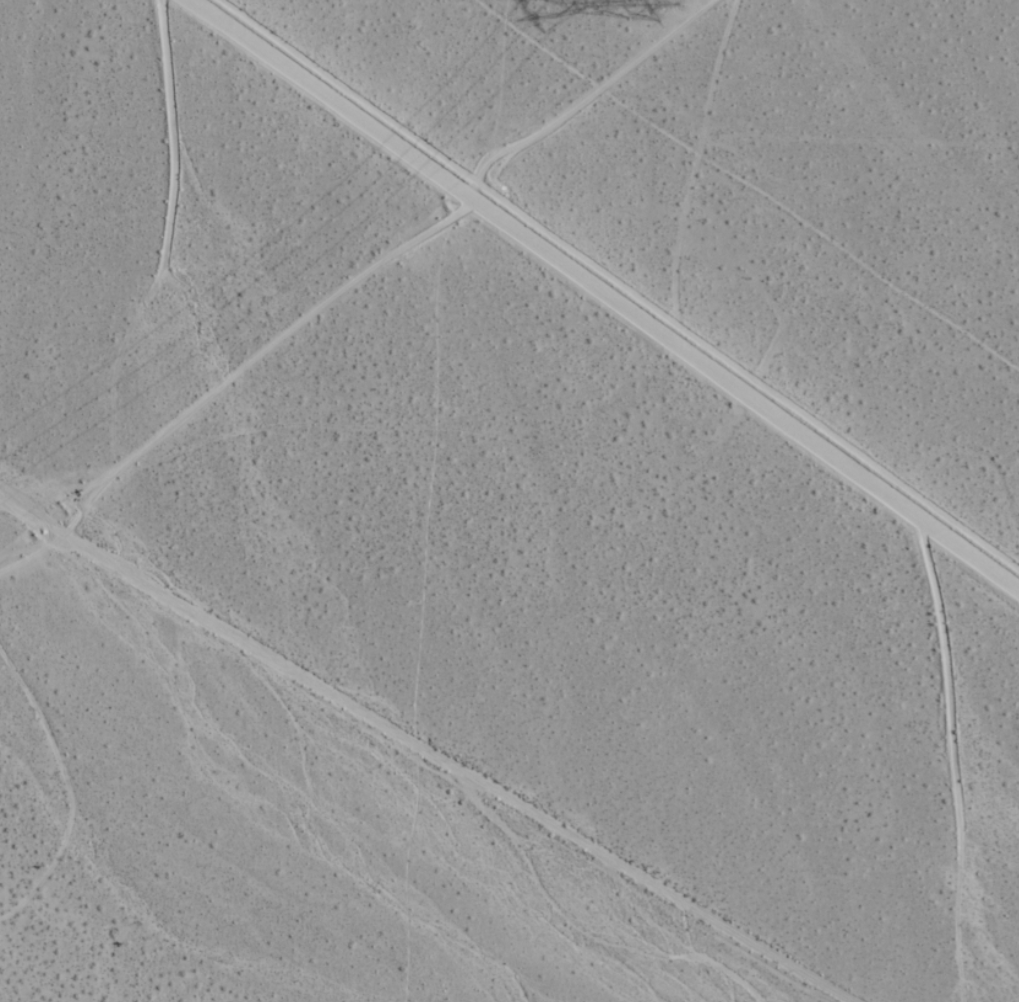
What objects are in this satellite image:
power tower: (670, 1)
road: (604, 292)
road: (425, 749)

